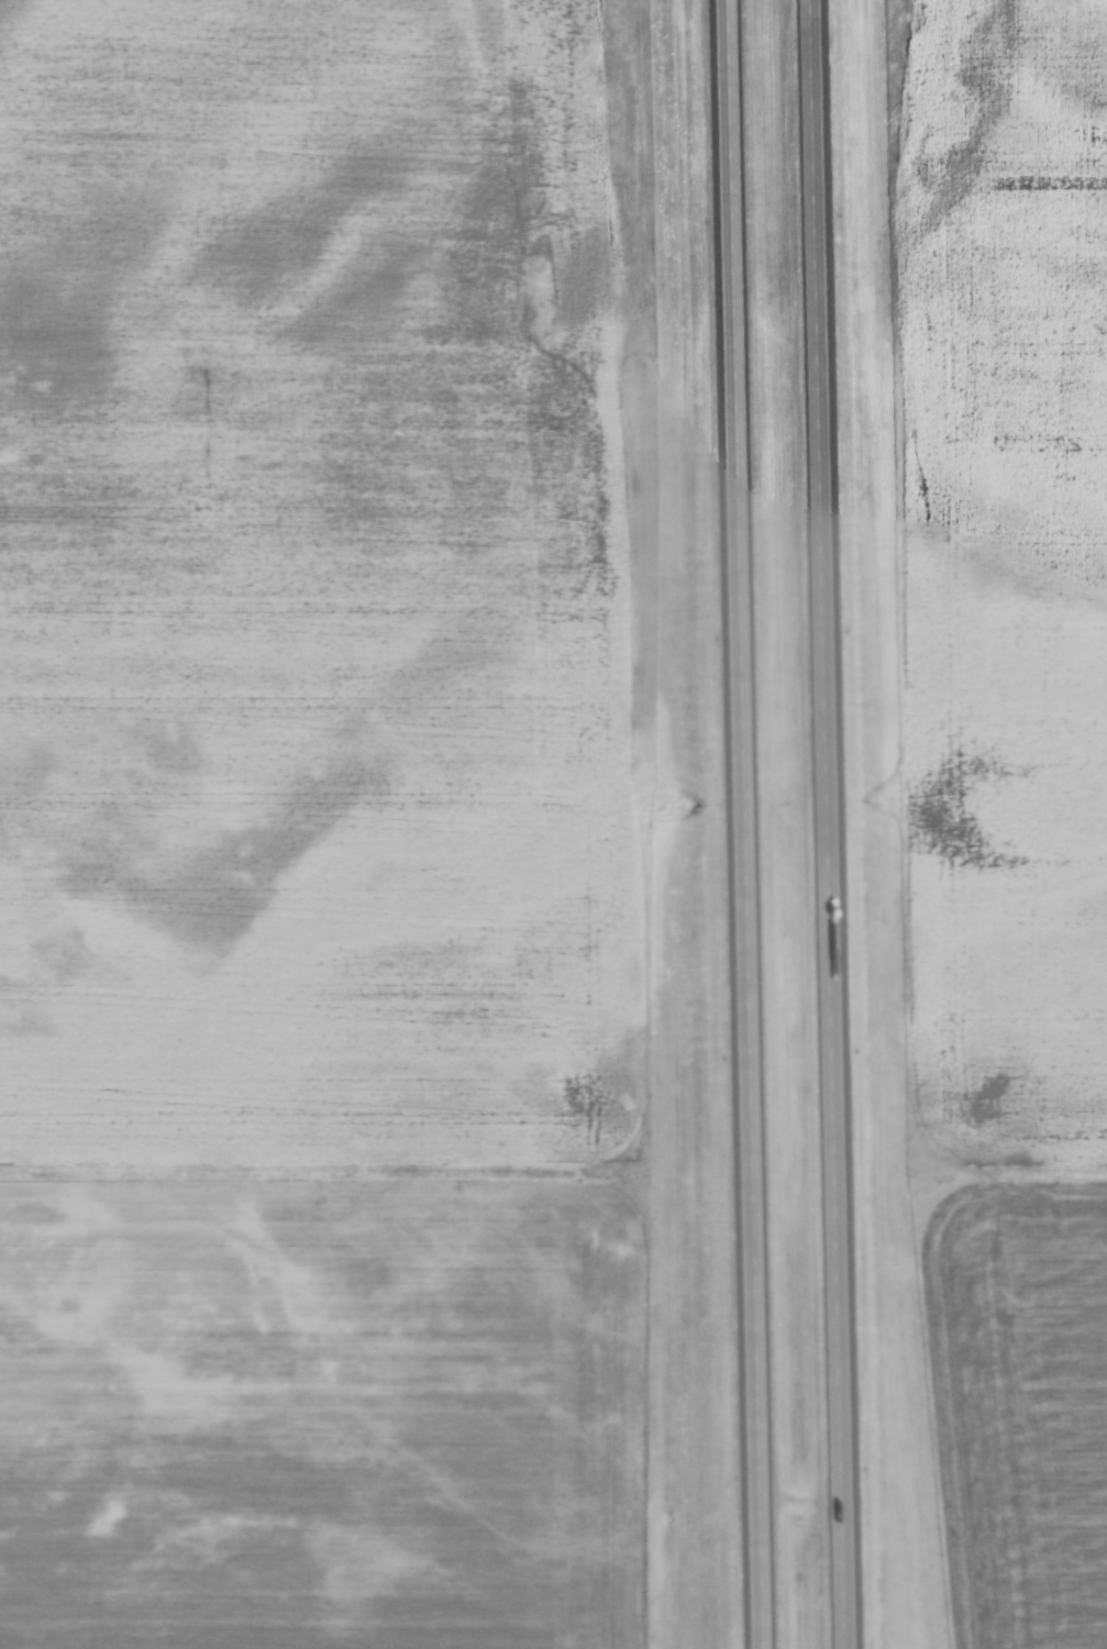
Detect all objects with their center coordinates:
road: (741, 824)
road: (834, 824)
road: (104, 1233)

